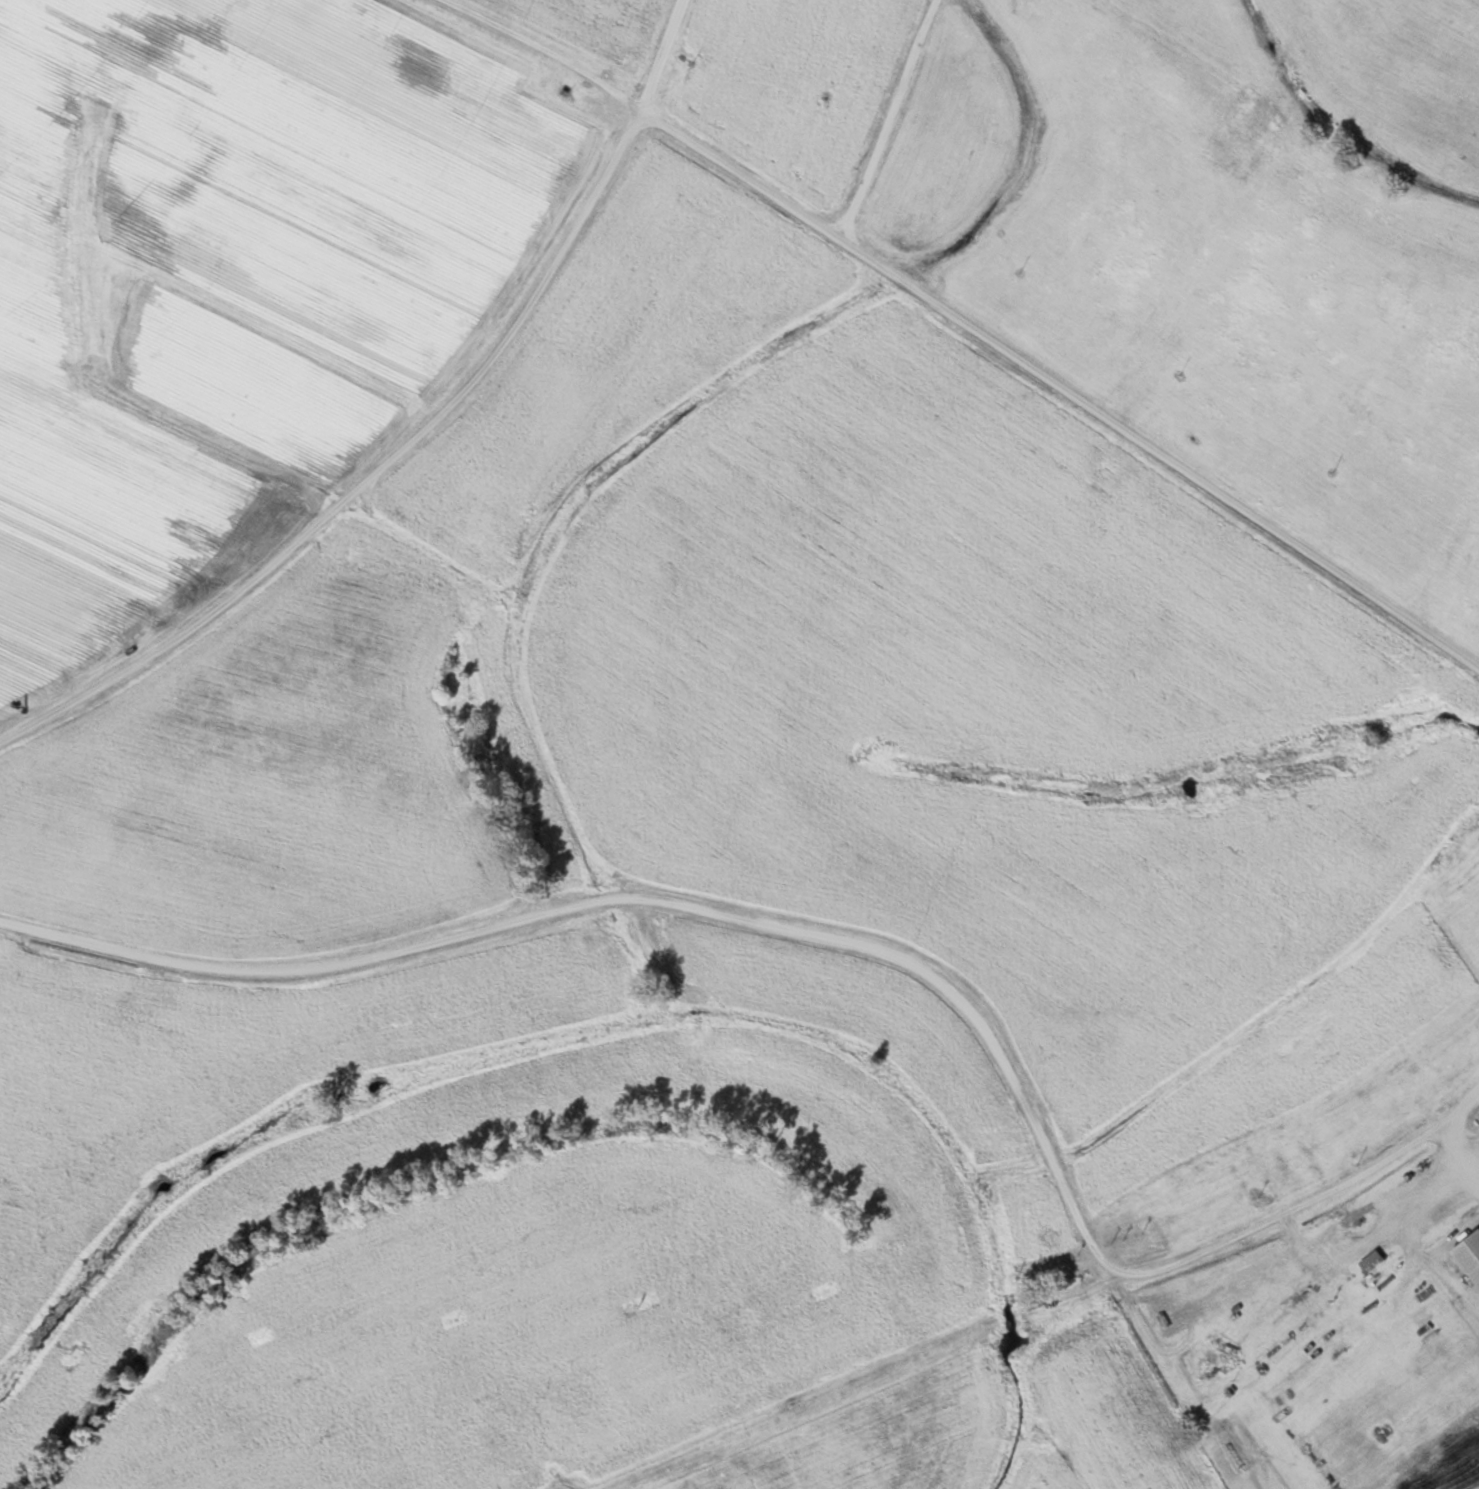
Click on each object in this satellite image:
building: (1256, 112)
road: (896, 119)
road: (984, 332)
road: (839, 937)
building: (1468, 1257)
building: (1370, 1262)

